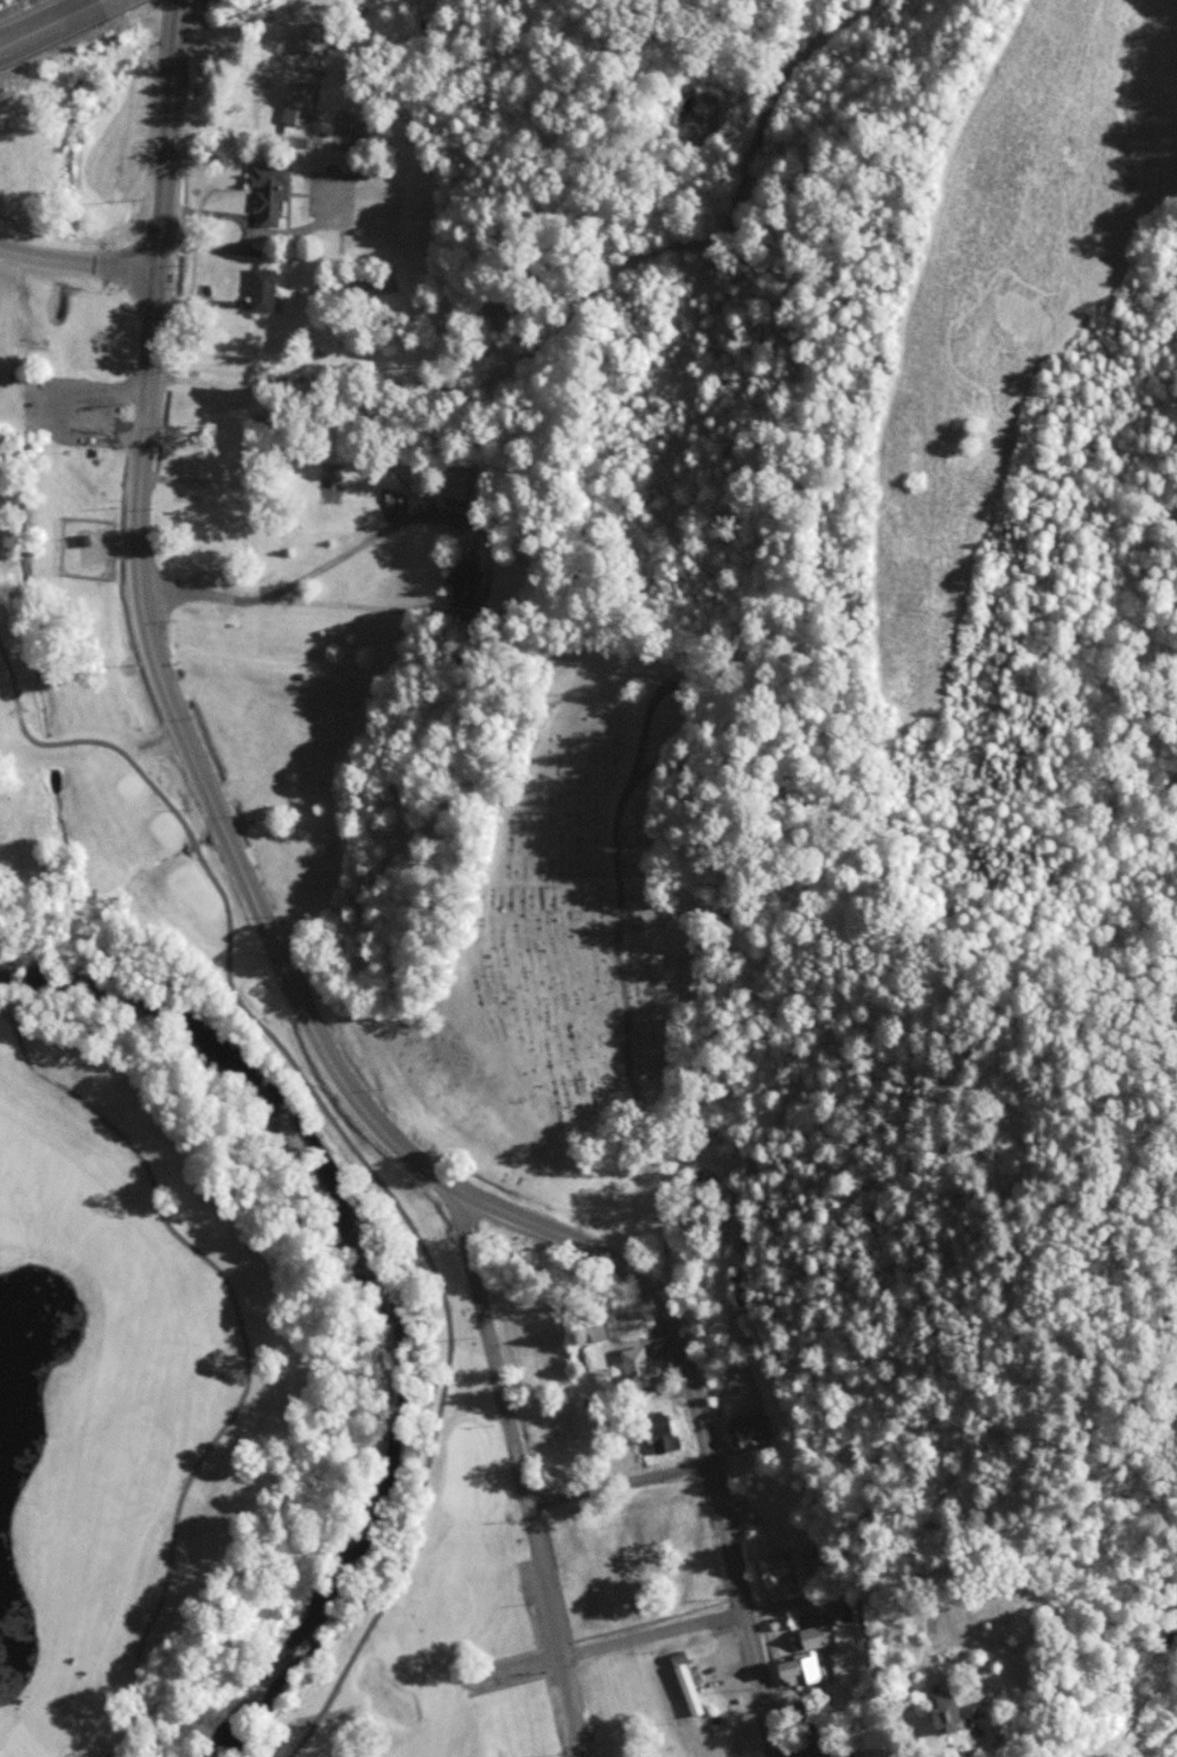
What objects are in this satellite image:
road: (97, 5)
road: (43, 28)
building: (312, 46)
building: (300, 102)
road: (174, 139)
building: (270, 191)
road: (77, 270)
building: (340, 285)
building: (266, 289)
building: (494, 315)
building: (458, 481)
building: (85, 537)
road: (369, 537)
building: (465, 582)
road: (298, 602)
road: (622, 922)
road: (226, 929)
park: (594, 951)
road: (348, 1090)
park: (187, 1225)
building: (735, 1284)
road: (242, 1357)
building: (639, 1366)
road: (718, 1375)
building: (749, 1429)
building: (664, 1432)
road: (519, 1475)
road: (619, 1488)
road: (409, 1526)
building: (776, 1565)
road: (856, 1602)
building: (838, 1611)
road: (652, 1635)
building: (812, 1635)
building: (802, 1669)
road: (511, 1670)
building: (690, 1688)
building: (955, 1708)
building: (820, 1752)

